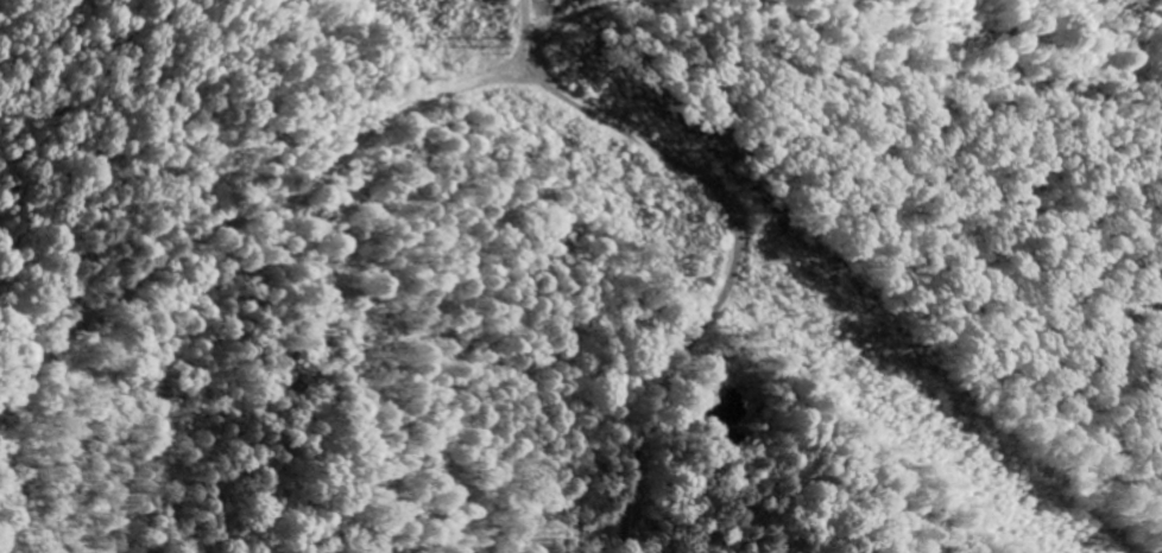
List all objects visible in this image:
power tower: (486, 42)
road: (250, 215)
road: (739, 235)

